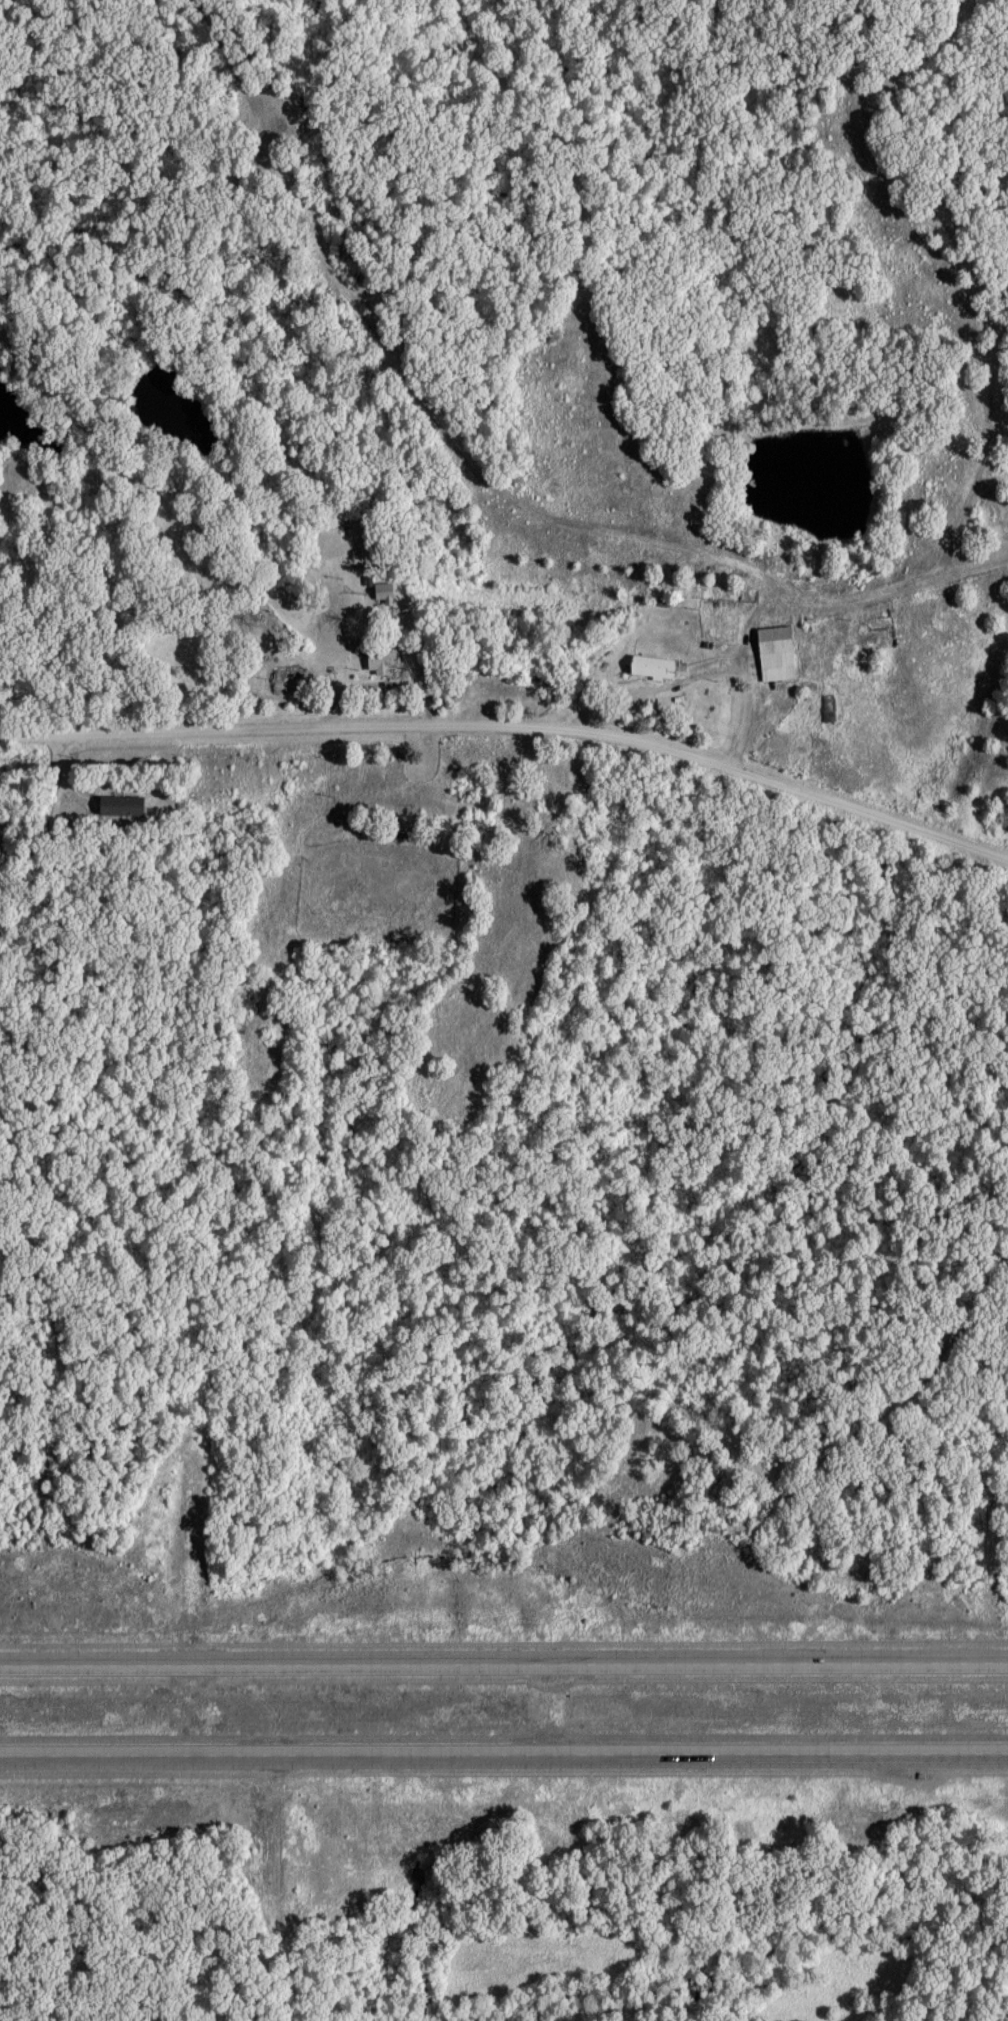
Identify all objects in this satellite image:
building: (386, 593)
building: (779, 655)
building: (385, 663)
building: (655, 668)
road: (752, 695)
road: (513, 726)
building: (124, 806)
road: (503, 1660)
road: (504, 1753)

